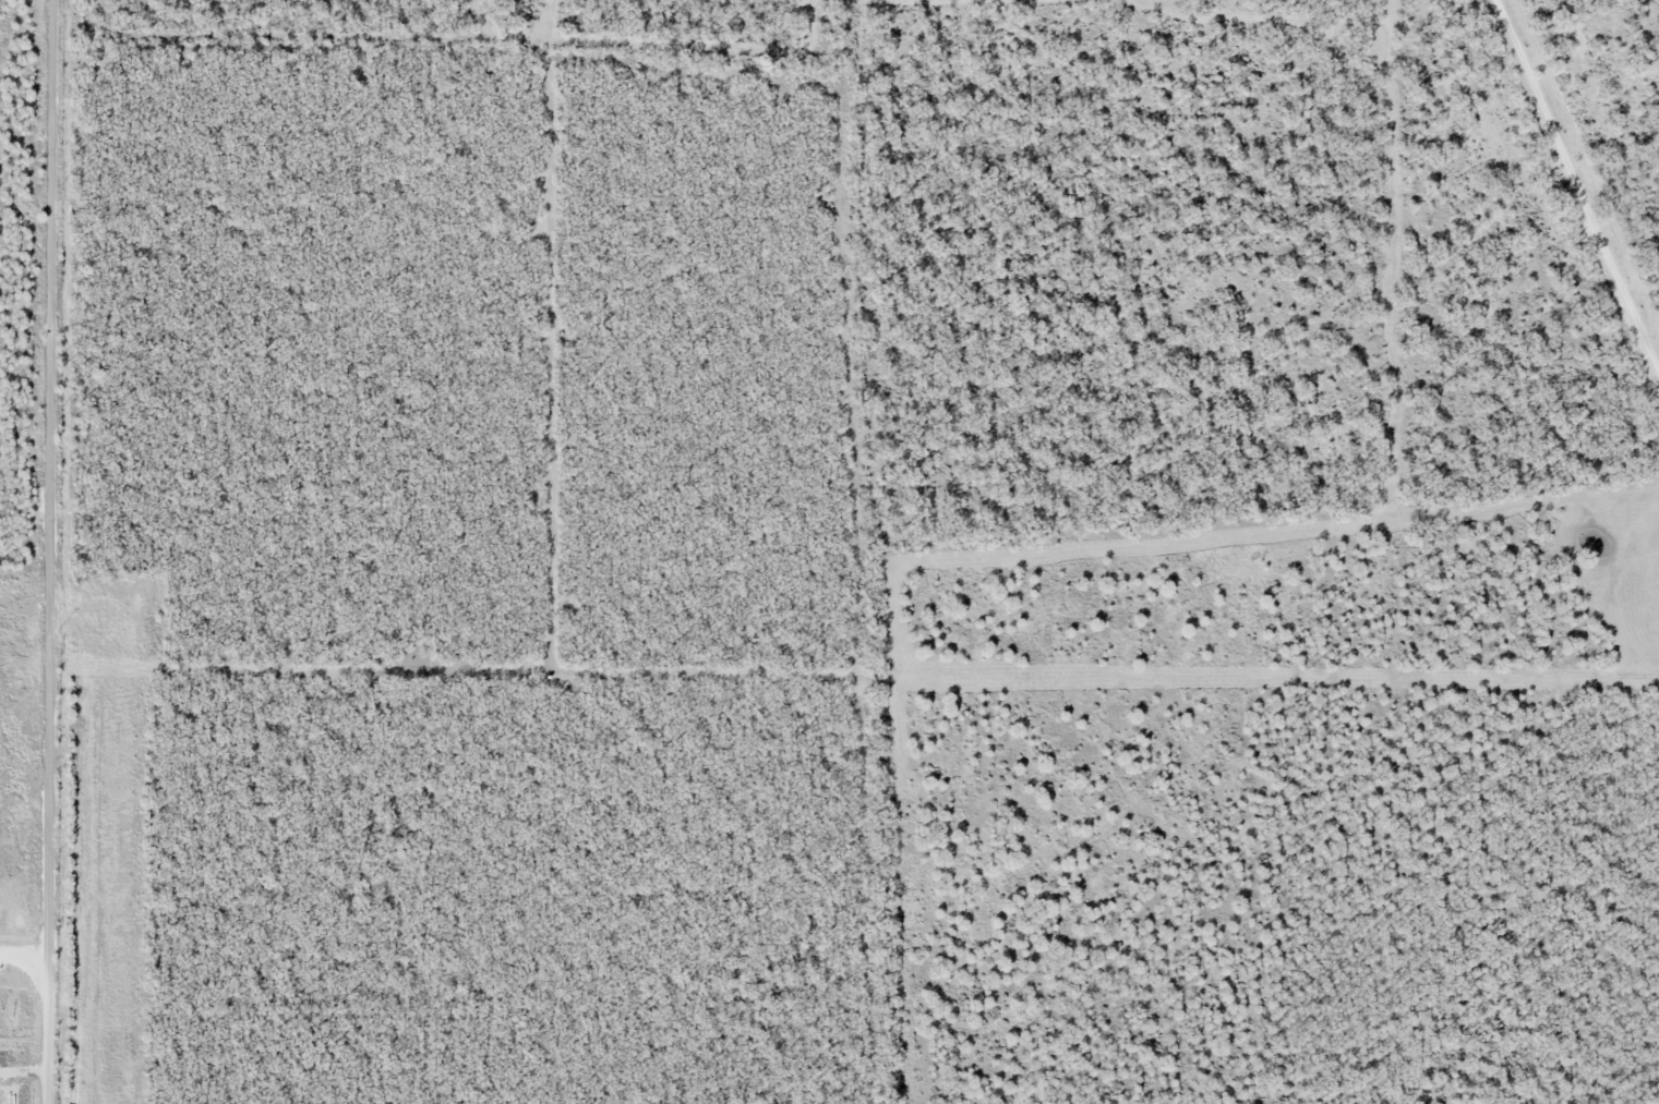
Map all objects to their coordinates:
road: (1576, 183)
road: (49, 551)

